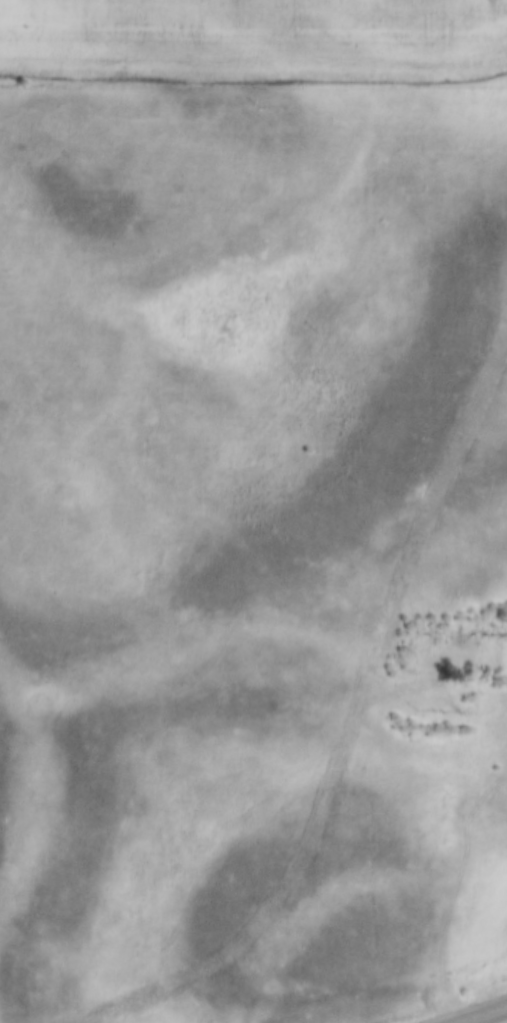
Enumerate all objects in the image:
road: (488, 1017)

